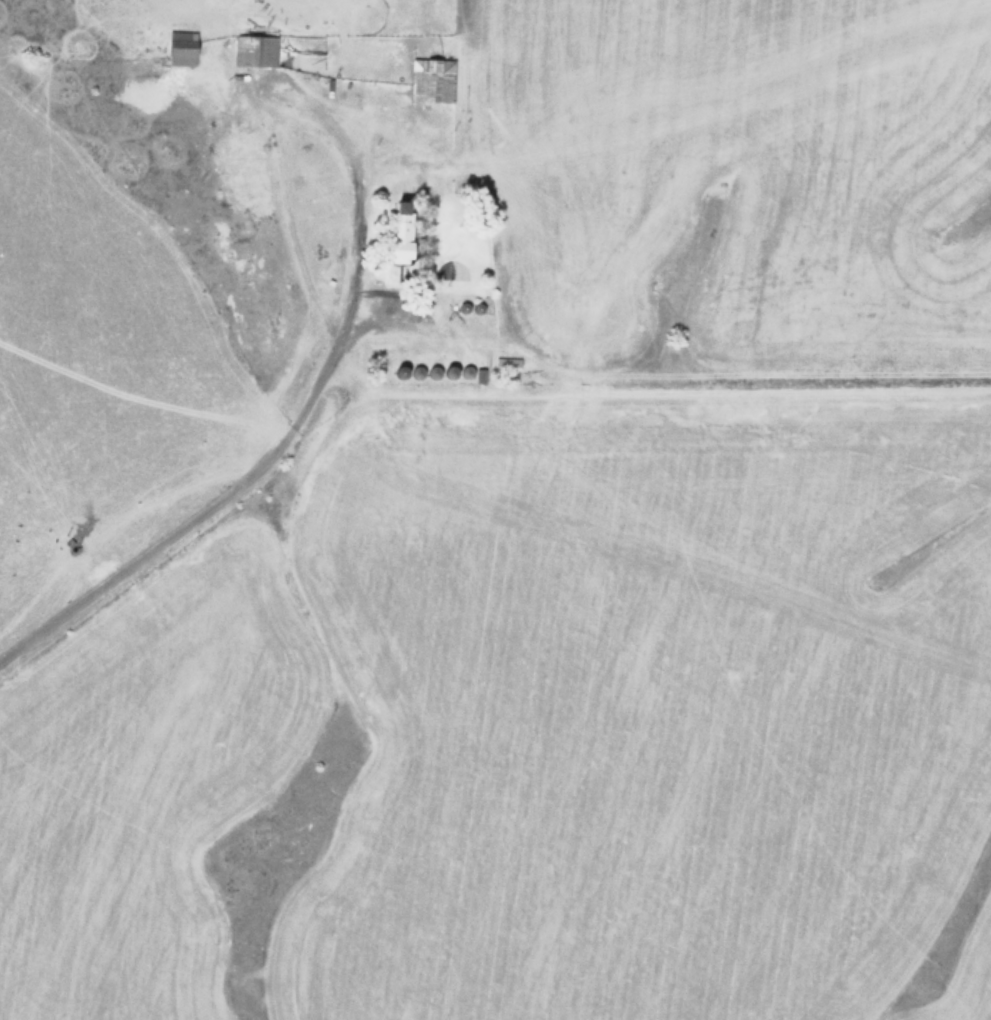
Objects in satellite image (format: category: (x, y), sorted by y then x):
building: (400, 234)
road: (217, 506)

